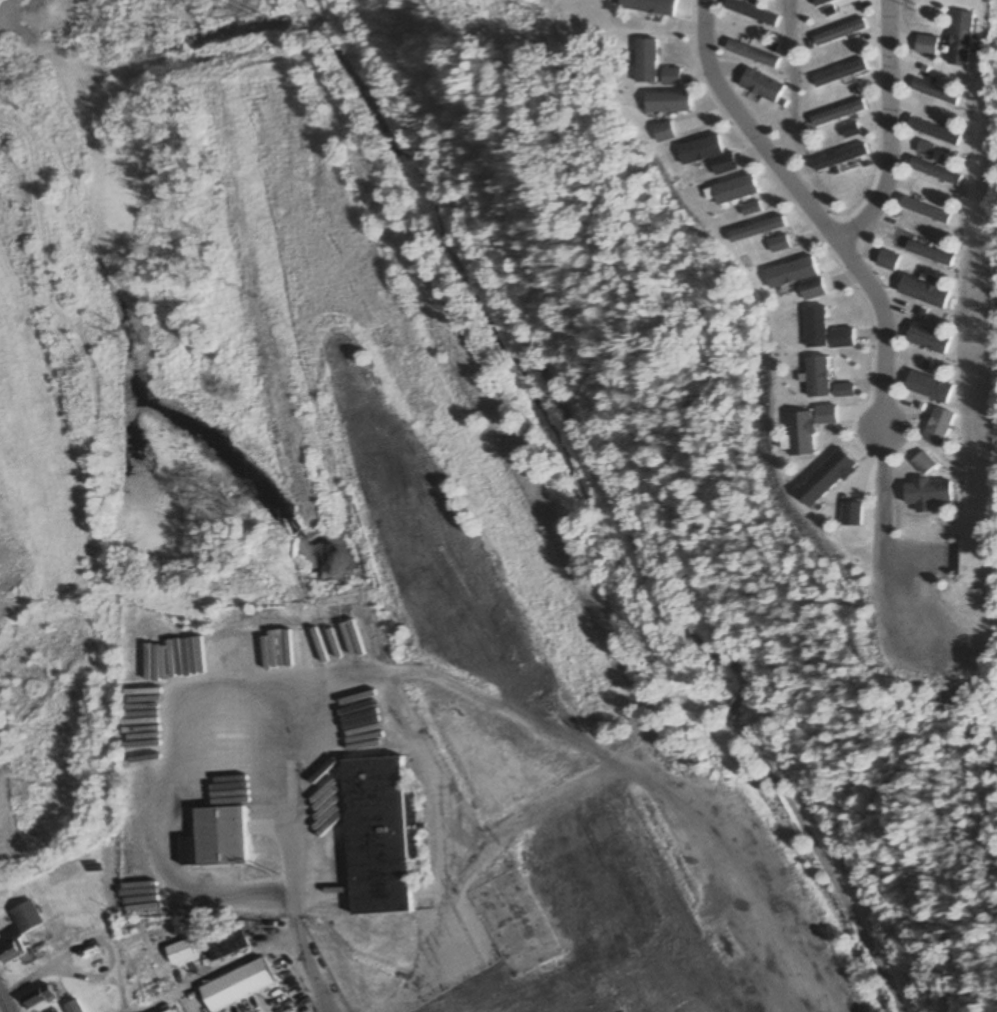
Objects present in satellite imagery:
building: (817, 2)
building: (835, 33)
building: (957, 39)
building: (922, 45)
building: (640, 62)
building: (835, 74)
building: (665, 77)
building: (931, 92)
building: (664, 102)
building: (832, 114)
road: (878, 128)
building: (929, 131)
building: (660, 133)
building: (704, 155)
building: (929, 171)
road: (805, 211)
building: (918, 211)
building: (924, 253)
building: (919, 291)
road: (530, 349)
road: (737, 699)
building: (376, 835)
building: (218, 838)
road: (821, 861)
building: (511, 923)
building: (15, 944)
building: (723, 946)
building: (184, 953)
road: (250, 956)
building: (139, 957)
building: (96, 961)
building: (697, 981)
building: (38, 997)
building: (269, 998)
building: (194, 1006)
building: (245, 1006)
building: (73, 1007)
building: (539, 1010)
building: (173, 1011)

